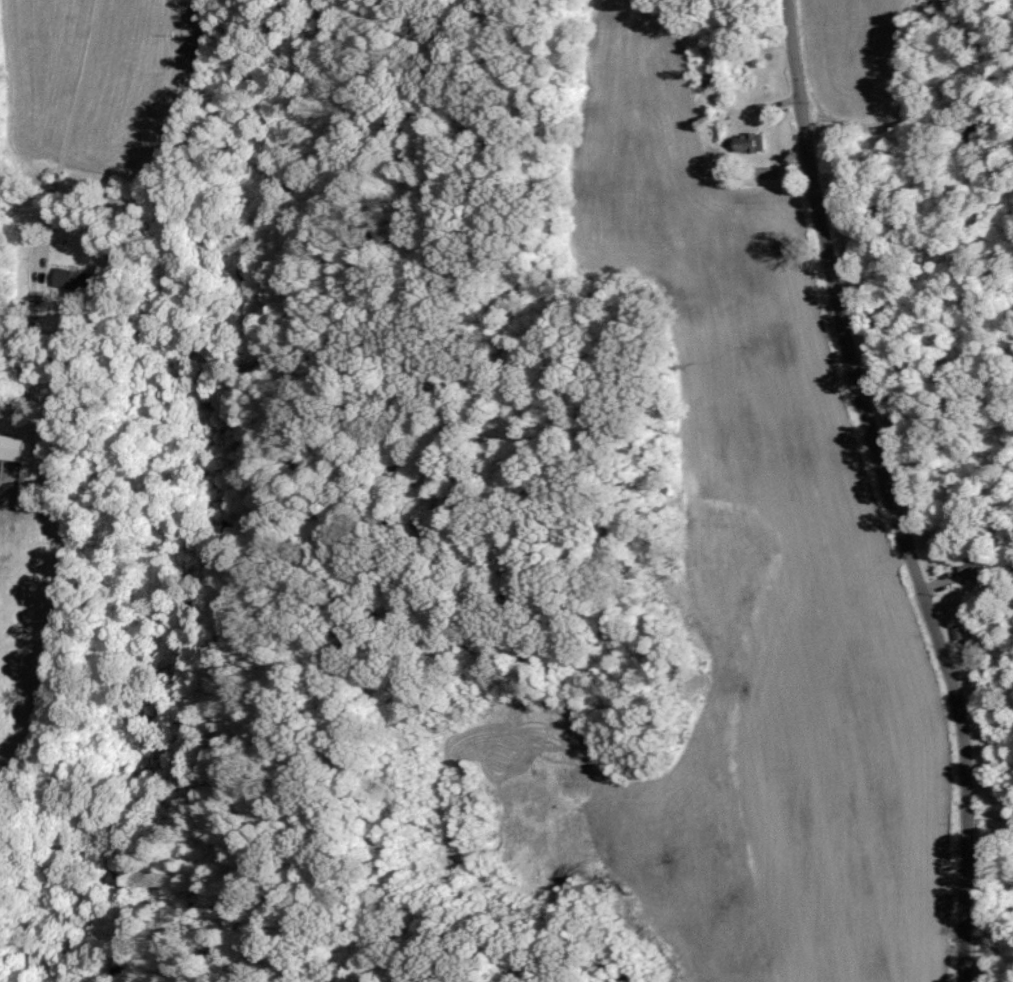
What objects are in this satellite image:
building: (746, 142)
road: (49, 208)
building: (70, 279)
building: (10, 447)
road: (893, 490)
building: (972, 569)

